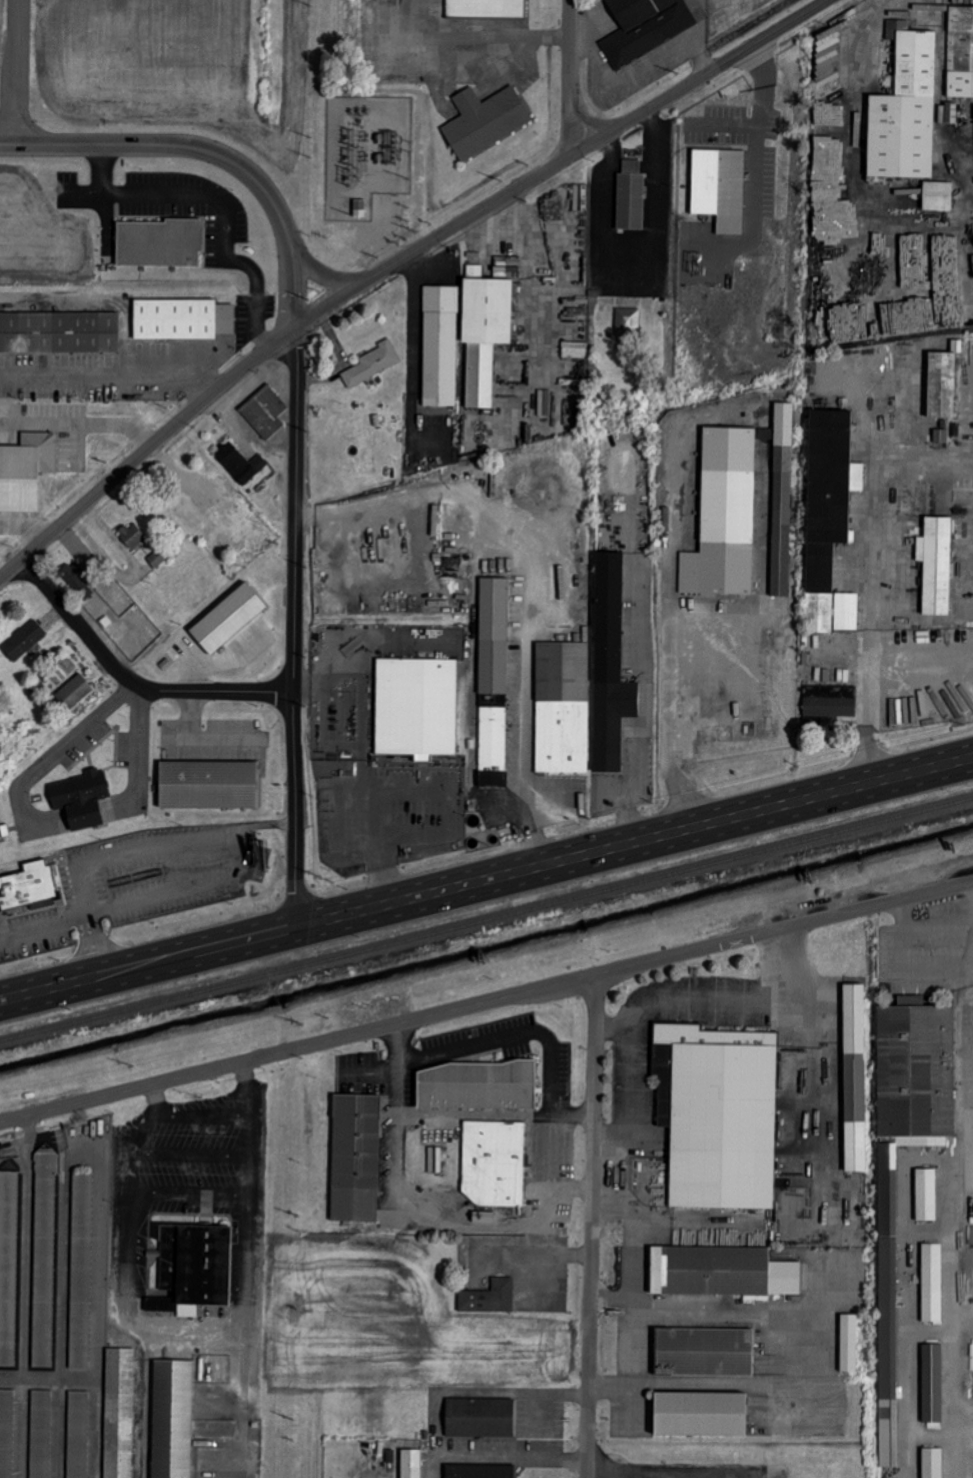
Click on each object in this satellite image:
building: (486, 8)
building: (645, 27)
building: (960, 52)
road: (16, 72)
road: (570, 75)
building: (904, 108)
building: (485, 120)
road: (209, 151)
building: (825, 155)
road: (560, 163)
building: (719, 187)
building: (631, 196)
building: (937, 196)
building: (159, 243)
road: (331, 279)
building: (182, 319)
building: (628, 322)
building: (58, 332)
building: (483, 334)
building: (440, 346)
building: (373, 364)
road: (413, 366)
road: (172, 372)
building: (941, 385)
building: (265, 412)
road: (145, 450)
building: (241, 463)
building: (25, 470)
building: (781, 499)
building: (724, 516)
building: (194, 518)
building: (829, 519)
building: (132, 535)
building: (936, 565)
building: (78, 581)
building: (227, 619)
road: (292, 629)
building: (493, 636)
building: (24, 641)
road: (369, 645)
building: (609, 667)
road: (868, 671)
road: (130, 680)
building: (73, 691)
building: (830, 702)
building: (413, 706)
building: (563, 708)
road: (670, 715)
road: (95, 723)
building: (493, 746)
road: (524, 753)
road: (956, 762)
building: (208, 784)
road: (407, 788)
road: (631, 790)
parking lot: (400, 797)
building: (80, 801)
road: (266, 824)
building: (3, 832)
road: (374, 846)
road: (621, 846)
parking lot: (138, 882)
building: (28, 885)
road: (969, 897)
railway: (486, 921)
road: (96, 950)
road: (151, 963)
road: (659, 995)
road: (486, 1002)
road: (546, 1039)
building: (916, 1068)
building: (855, 1078)
building: (479, 1085)
railway: (960, 1113)
building: (719, 1114)
building: (355, 1157)
building: (494, 1162)
building: (925, 1194)
road: (611, 1208)
road: (416, 1209)
road: (589, 1226)
road: (636, 1241)
building: (45, 1259)
building: (9, 1265)
building: (193, 1268)
building: (82, 1270)
building: (722, 1271)
building: (932, 1282)
building: (489, 1297)
road: (191, 1332)
building: (849, 1342)
building: (704, 1351)
building: (932, 1383)
road: (691, 1387)
road: (142, 1403)
building: (120, 1413)
building: (700, 1413)
building: (480, 1417)
building: (172, 1419)
building: (7, 1432)
building: (41, 1434)
building: (78, 1434)
building: (932, 1462)
building: (411, 1463)
building: (479, 1472)

